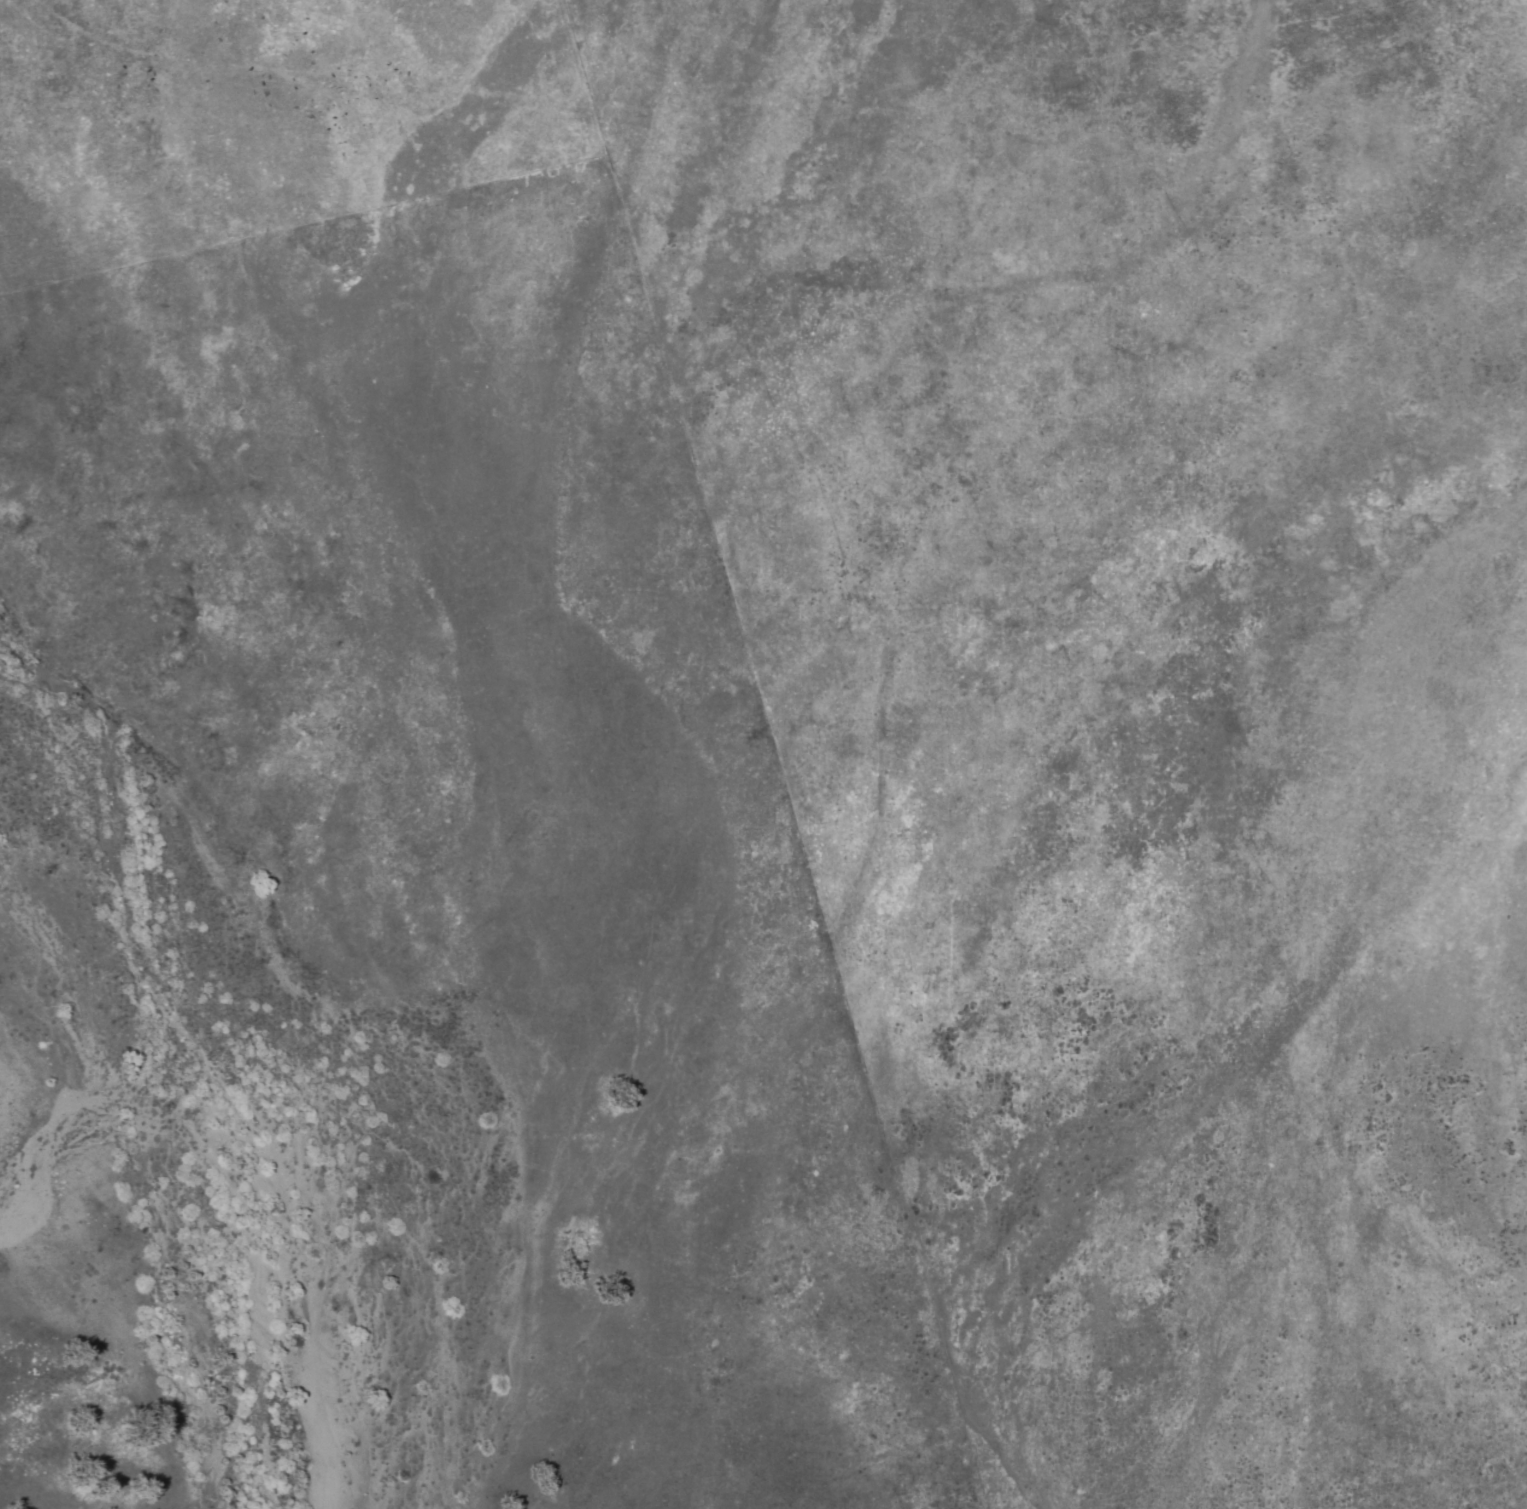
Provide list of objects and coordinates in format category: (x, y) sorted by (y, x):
river: (182, 1060)

